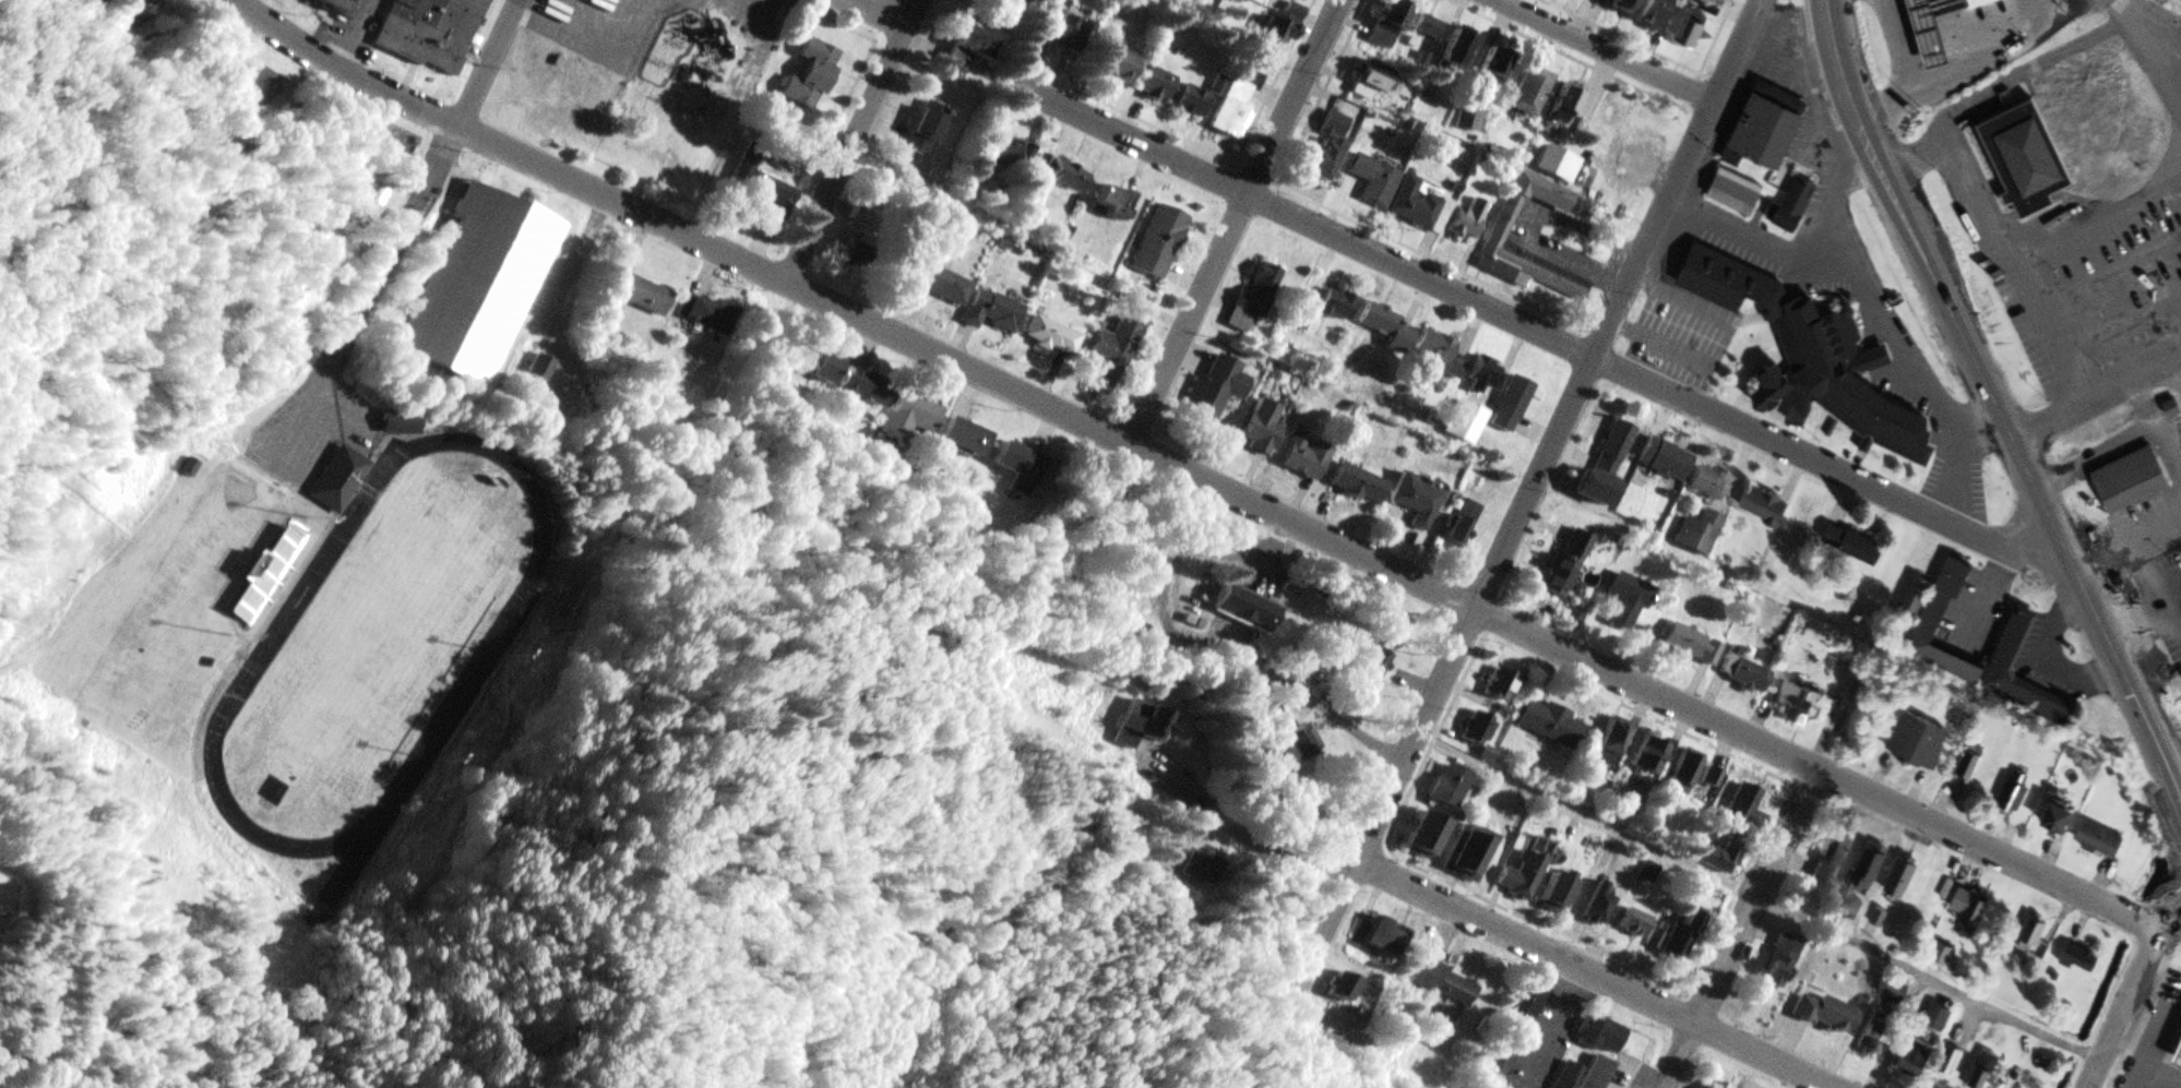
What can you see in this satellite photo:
building: (1683, 0)
building: (1979, 2)
building: (346, 5)
building: (1624, 7)
building: (140, 9)
road: (882, 11)
building: (1655, 13)
building: (1390, 25)
building: (1282, 27)
building: (1428, 27)
building: (1933, 27)
gas station: (1933, 27)
building: (1065, 31)
building: (1693, 32)
building: (434, 33)
road: (1620, 37)
building: (976, 44)
building: (1459, 49)
road: (1609, 51)
road: (1707, 53)
road: (1566, 55)
road: (485, 63)
building: (1119, 64)
road: (2041, 64)
building: (1495, 69)
building: (813, 79)
building: (1373, 80)
building: (252, 83)
road: (1275, 83)
building: (1159, 84)
building: (1532, 92)
road: (1322, 93)
building: (1193, 101)
building: (1565, 106)
building: (1232, 107)
building: (1767, 129)
building: (927, 130)
road: (850, 139)
building: (1002, 157)
building: (1326, 157)
building: (2029, 157)
building: (1550, 162)
building: (1063, 175)
building: (1374, 181)
building: (1736, 194)
building: (771, 199)
building: (1798, 200)
building: (1117, 203)
road: (1316, 203)
building: (1419, 207)
road: (1233, 222)
building: (1469, 222)
road: (2096, 223)
building: (1504, 225)
road: (1906, 226)
building: (1160, 243)
building: (858, 255)
road: (2013, 266)
road: (2108, 279)
building: (479, 284)
building: (943, 285)
road: (368, 292)
building: (643, 296)
building: (1255, 298)
building: (1338, 307)
building: (993, 312)
building: (708, 314)
building: (1389, 330)
road: (1539, 332)
road: (2119, 332)
building: (1053, 337)
building: (1441, 355)
building: (1113, 357)
building: (1815, 358)
building: (821, 369)
building: (1483, 375)
building: (869, 388)
building: (1219, 392)
road: (2097, 404)
building: (1512, 405)
building: (916, 416)
building: (398, 423)
building: (1262, 430)
building: (966, 438)
building: (1613, 452)
building: (1304, 459)
building: (1666, 462)
building: (1020, 467)
road: (1189, 473)
building: (335, 476)
building: (2133, 478)
building: (1711, 483)
building: (1359, 486)
road: (1530, 489)
building: (1417, 502)
building: (1765, 509)
building: (1459, 523)
building: (1700, 534)
building: (1854, 547)
building: (1566, 565)
building: (281, 569)
building: (1629, 602)
building: (1914, 602)
building: (1942, 603)
building: (1246, 609)
road: (2095, 620)
track: (498, 637)
park: (373, 643)
building: (1692, 647)
building: (1375, 659)
building: (1744, 675)
building: (1505, 684)
building: (1793, 703)
building: (1139, 722)
building: (1552, 725)
building: (1478, 728)
building: (1614, 739)
building: (1304, 743)
building: (1920, 743)
building: (1652, 755)
building: (1968, 766)
building: (1684, 773)
building: (1714, 778)
building: (1451, 786)
building: (2015, 798)
building: (1743, 803)
building: (2059, 820)
road: (1242, 825)
building: (1428, 834)
building: (2099, 841)
building: (1837, 848)
building: (1469, 856)
building: (1721, 857)
building: (1871, 866)
building: (1202, 870)
building: (1523, 877)
building: (1903, 878)
building: (1559, 893)
road: (1757, 896)
building: (4, 900)
building: (1601, 904)
building: (1852, 908)
building: (1970, 914)
building: (1880, 918)
building: (313, 920)
building: (1635, 923)
road: (1731, 929)
building: (2031, 935)
building: (1678, 938)
building: (1380, 940)
building: (1942, 955)
building: (2082, 958)
building: (1781, 961)
road: (1597, 972)
building: (1443, 984)
building: (1345, 987)
building: (1897, 989)
road: (2128, 994)
building: (1524, 1013)
building: (1827, 1014)
building: (1940, 1019)
building: (1874, 1036)
building: (1605, 1037)
building: (1919, 1055)
building: (2180, 1055)
building: (1985, 1071)
building: (1597, 1073)
building: (1570, 1076)
building: (1713, 1086)

